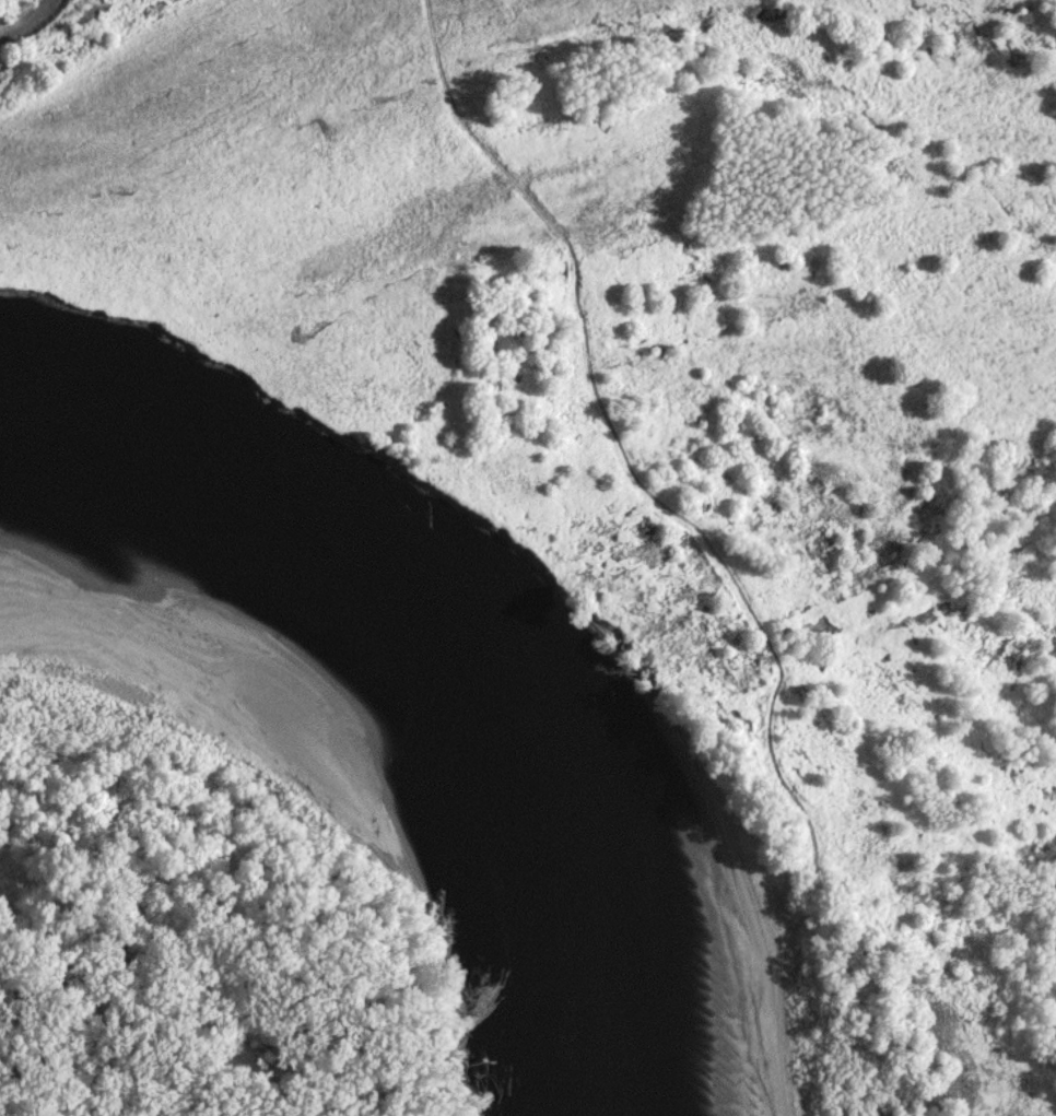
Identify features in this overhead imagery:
river: (482, 696)

